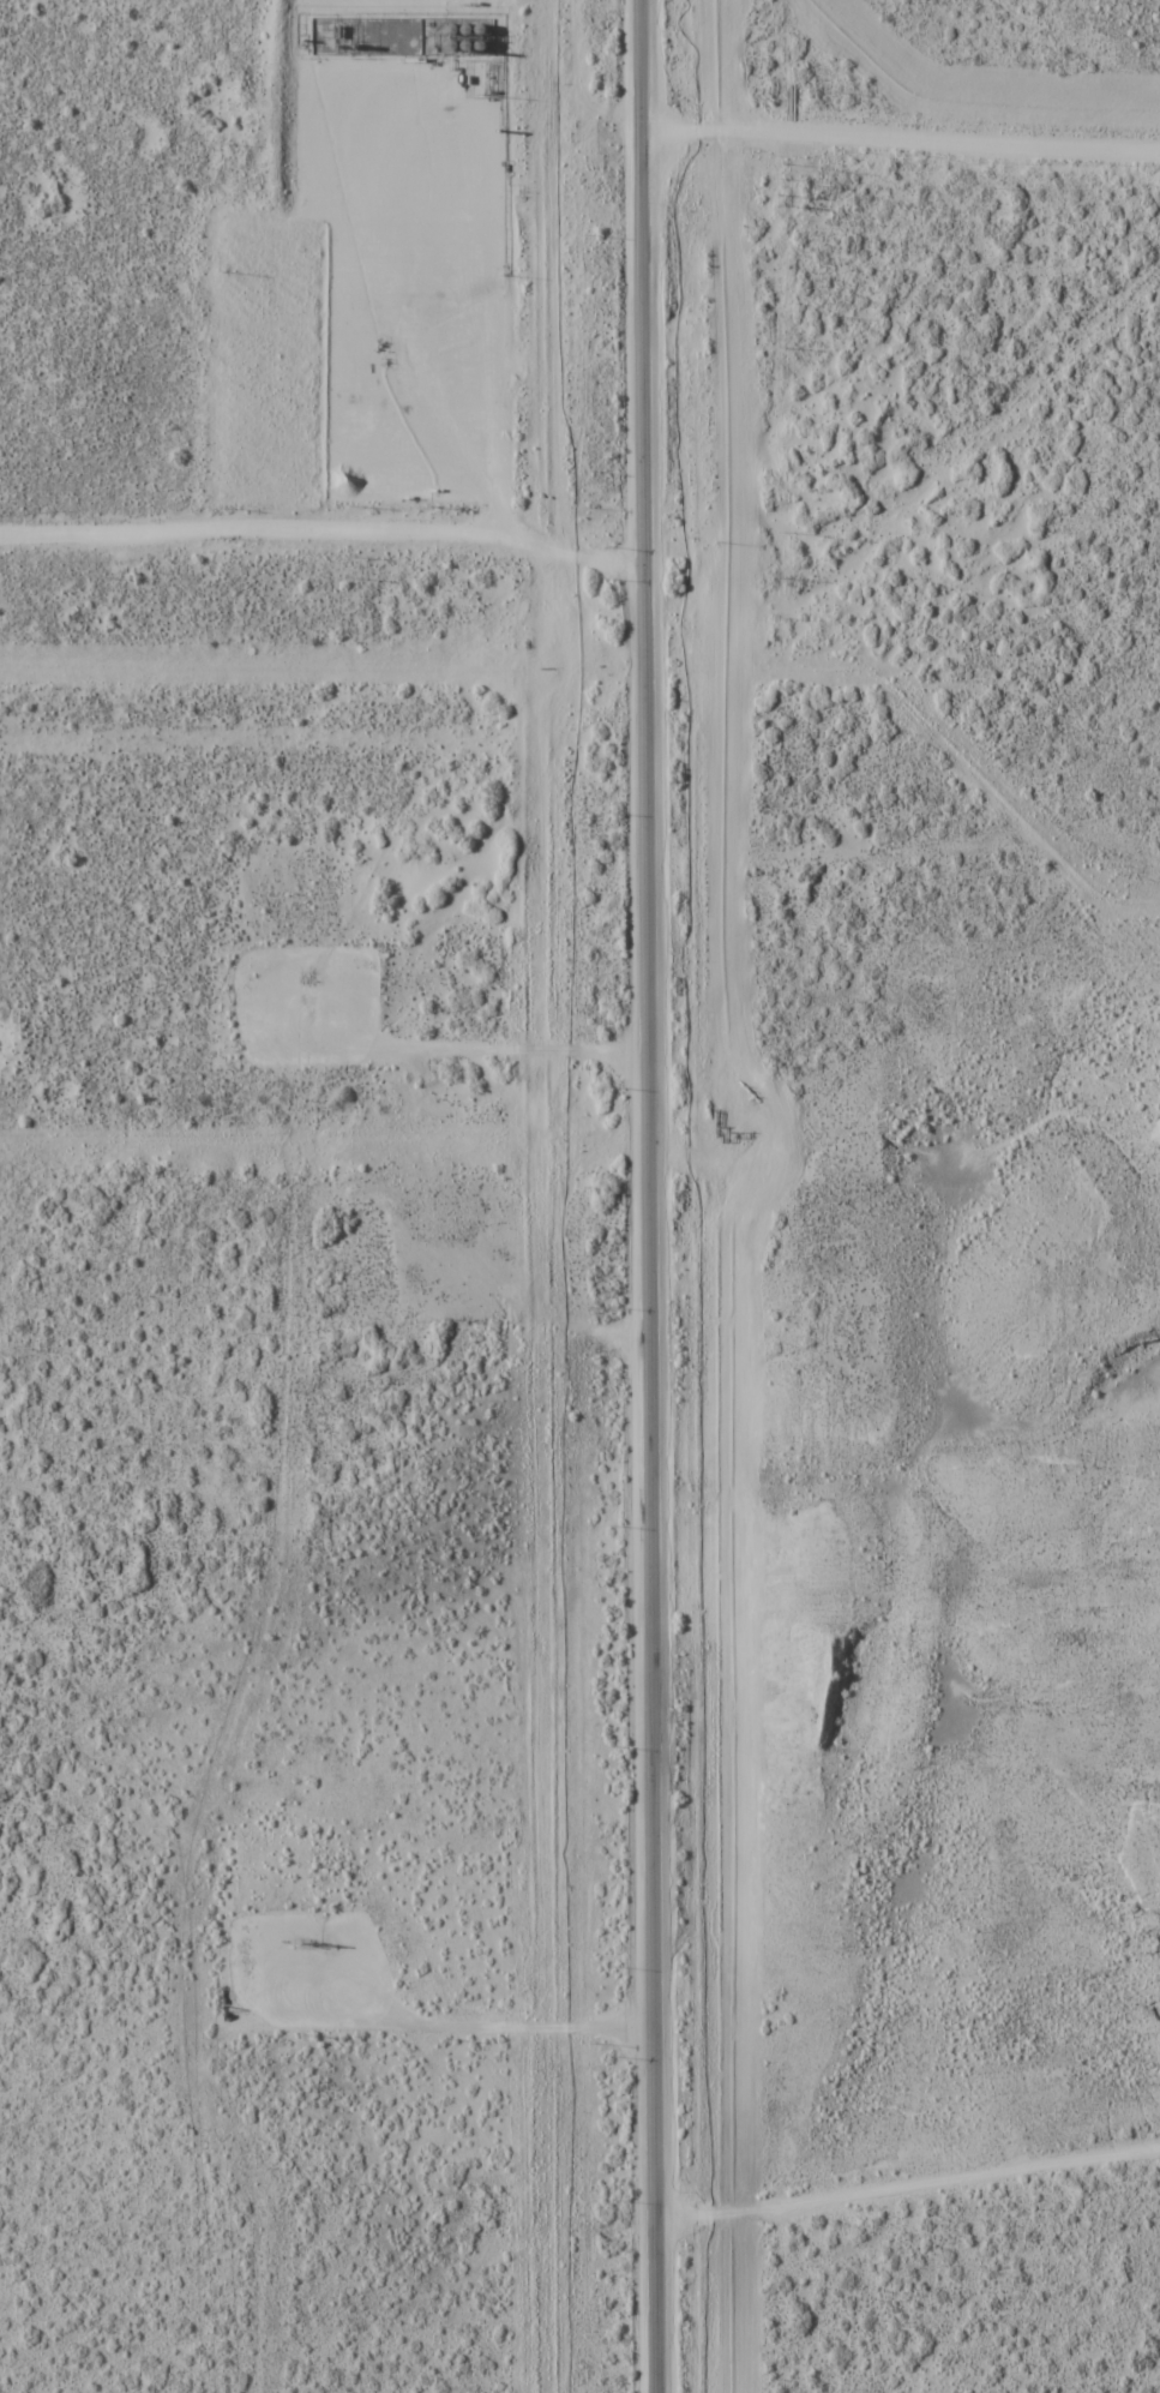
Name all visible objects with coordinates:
road: (901, 124)
petroleum well: (387, 362)
road: (324, 538)
road: (507, 1044)
road: (785, 1171)
road: (655, 1195)
petroleum well: (303, 1939)
road: (453, 2009)
road: (910, 2187)

